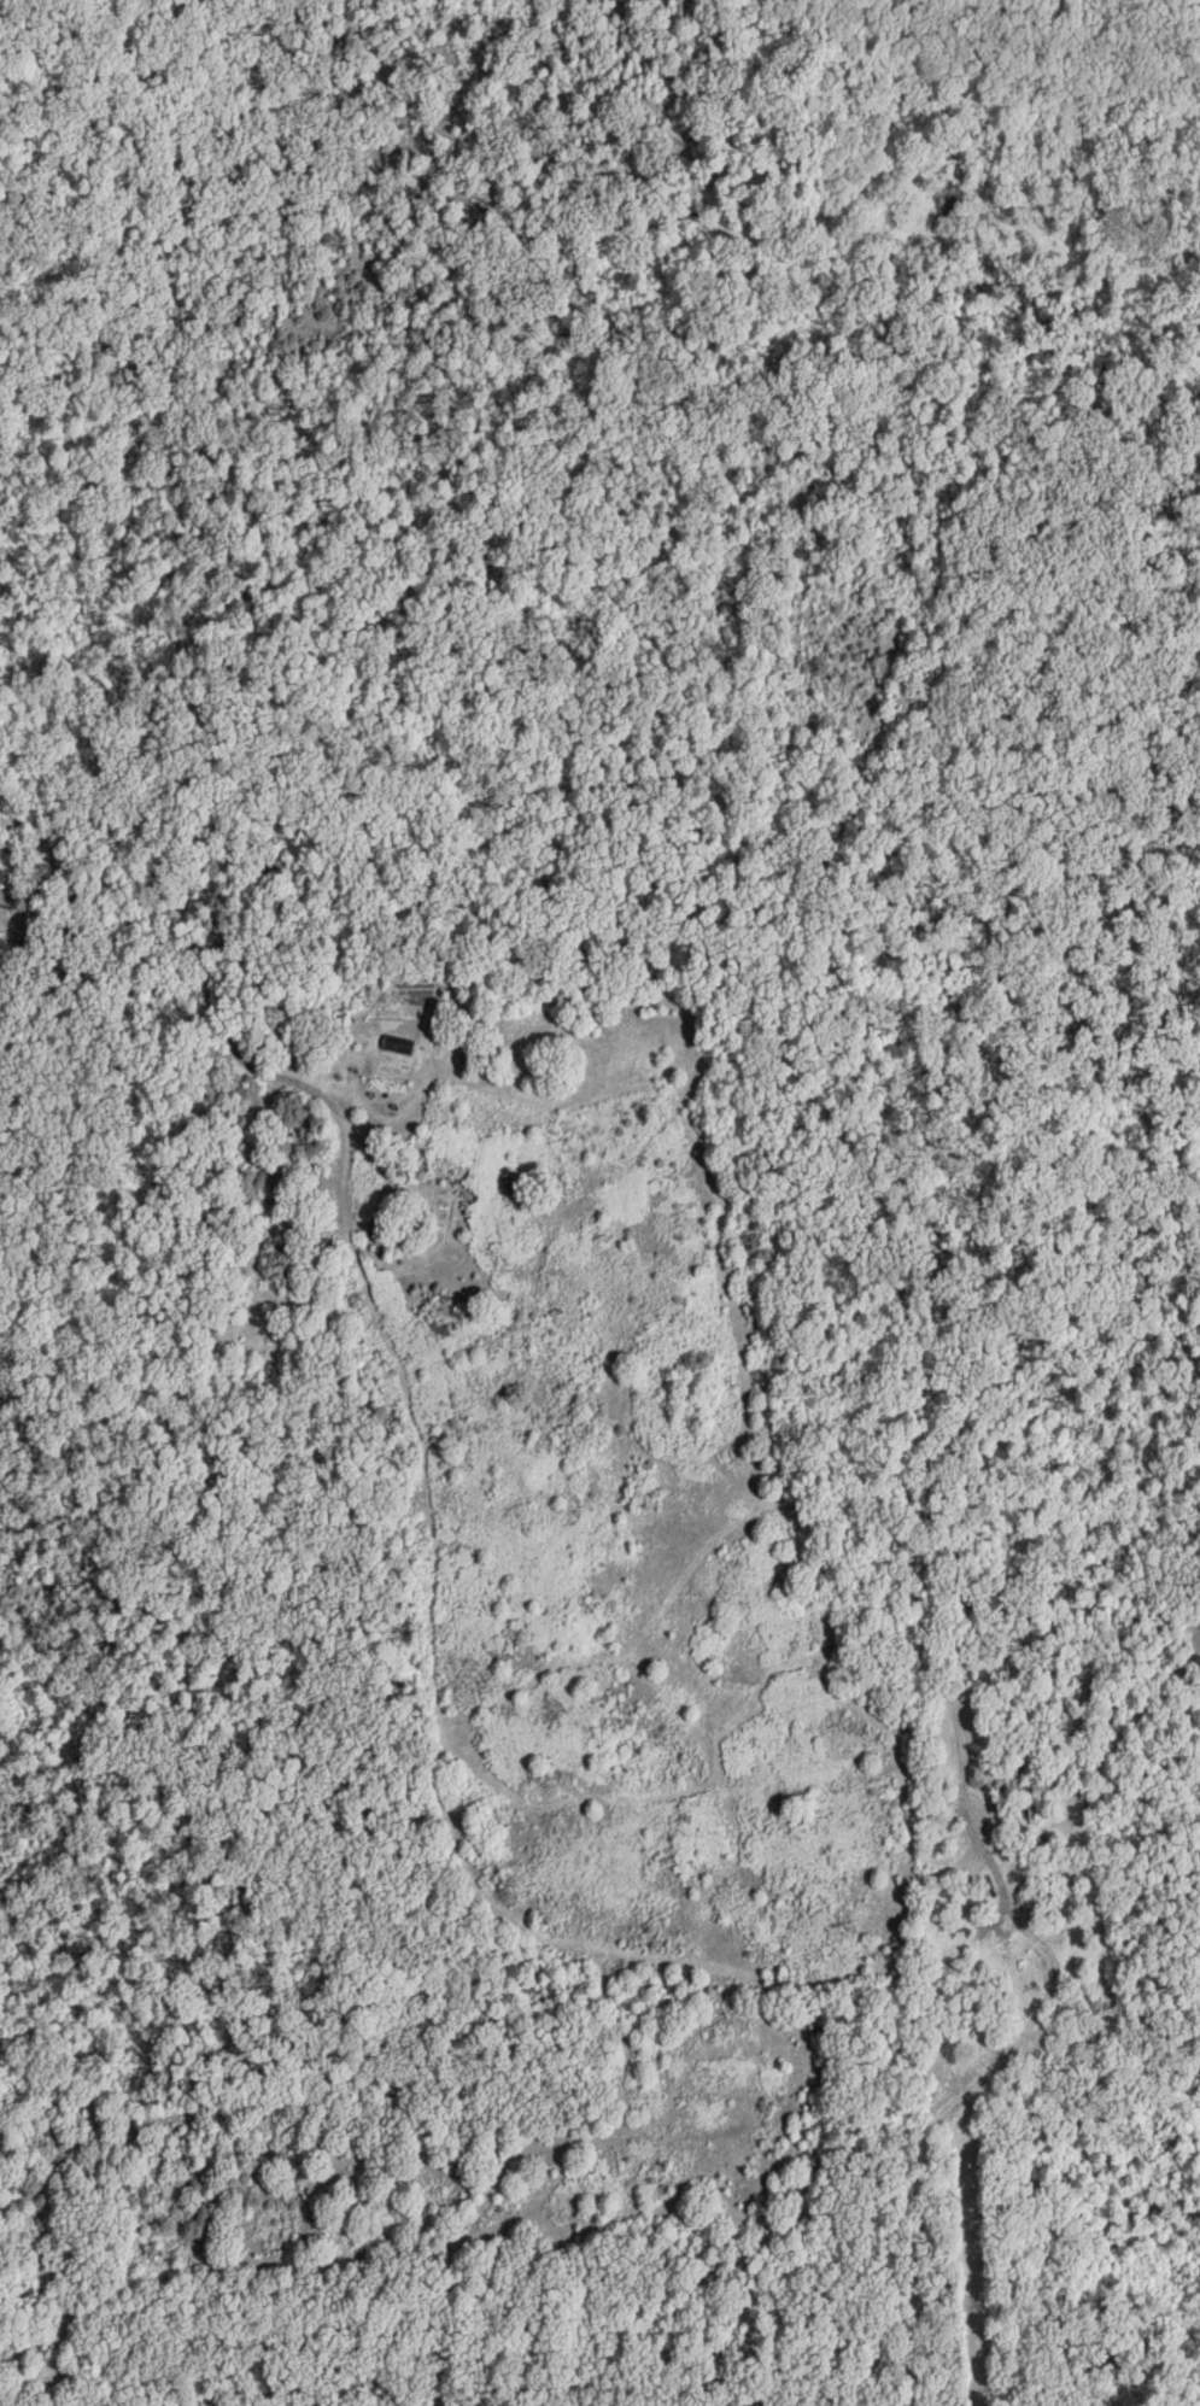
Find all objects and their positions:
building: (1031, 1802)

